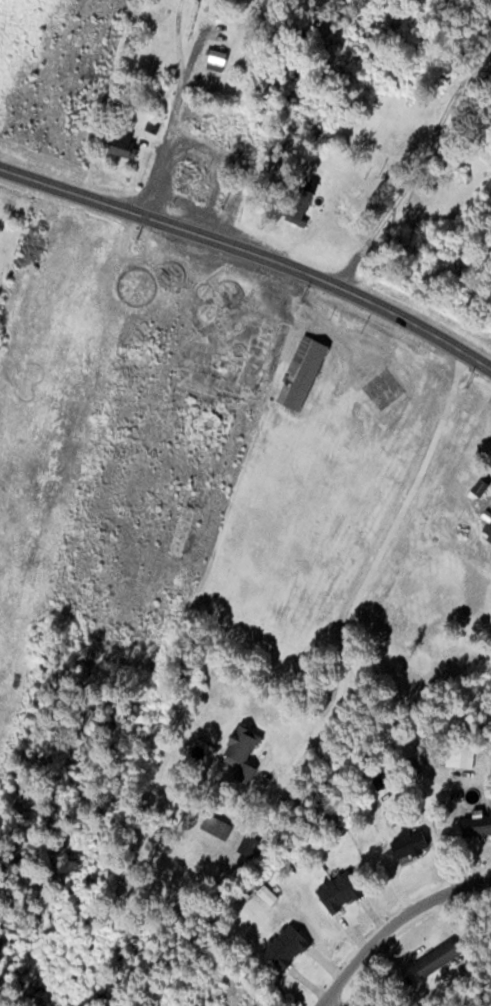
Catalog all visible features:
building: (216, 58)
building: (122, 143)
building: (190, 182)
building: (298, 205)
road: (252, 250)
building: (301, 372)
building: (487, 522)
building: (240, 752)
building: (490, 796)
building: (476, 825)
building: (408, 843)
building: (338, 891)
road: (393, 924)
building: (285, 945)
building: (436, 958)
road: (326, 1004)

